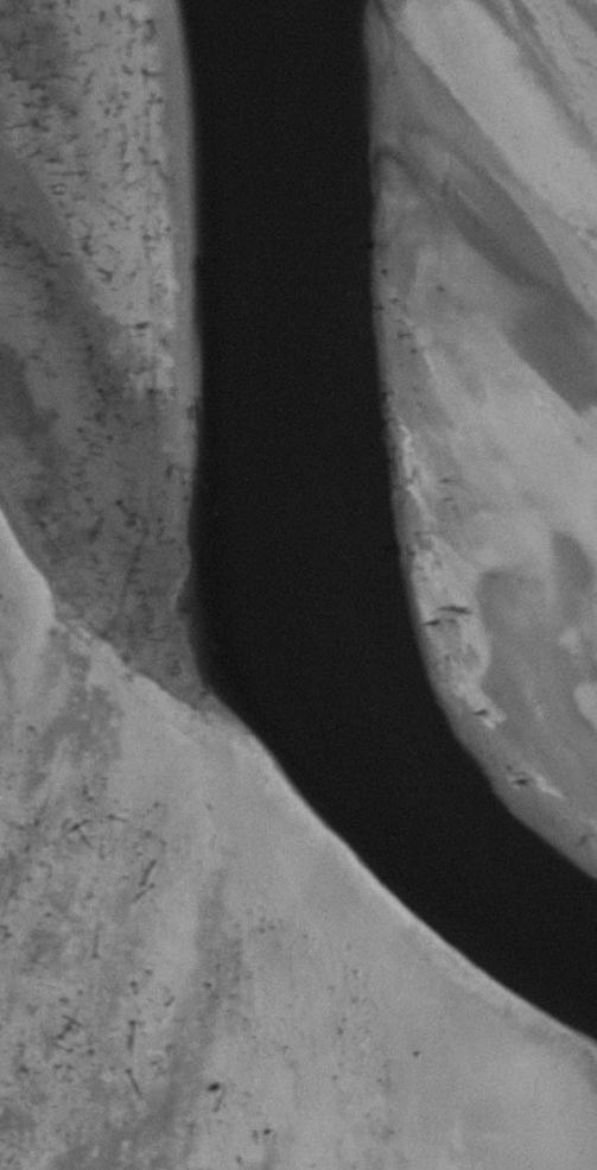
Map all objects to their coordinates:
river: (299, 542)

